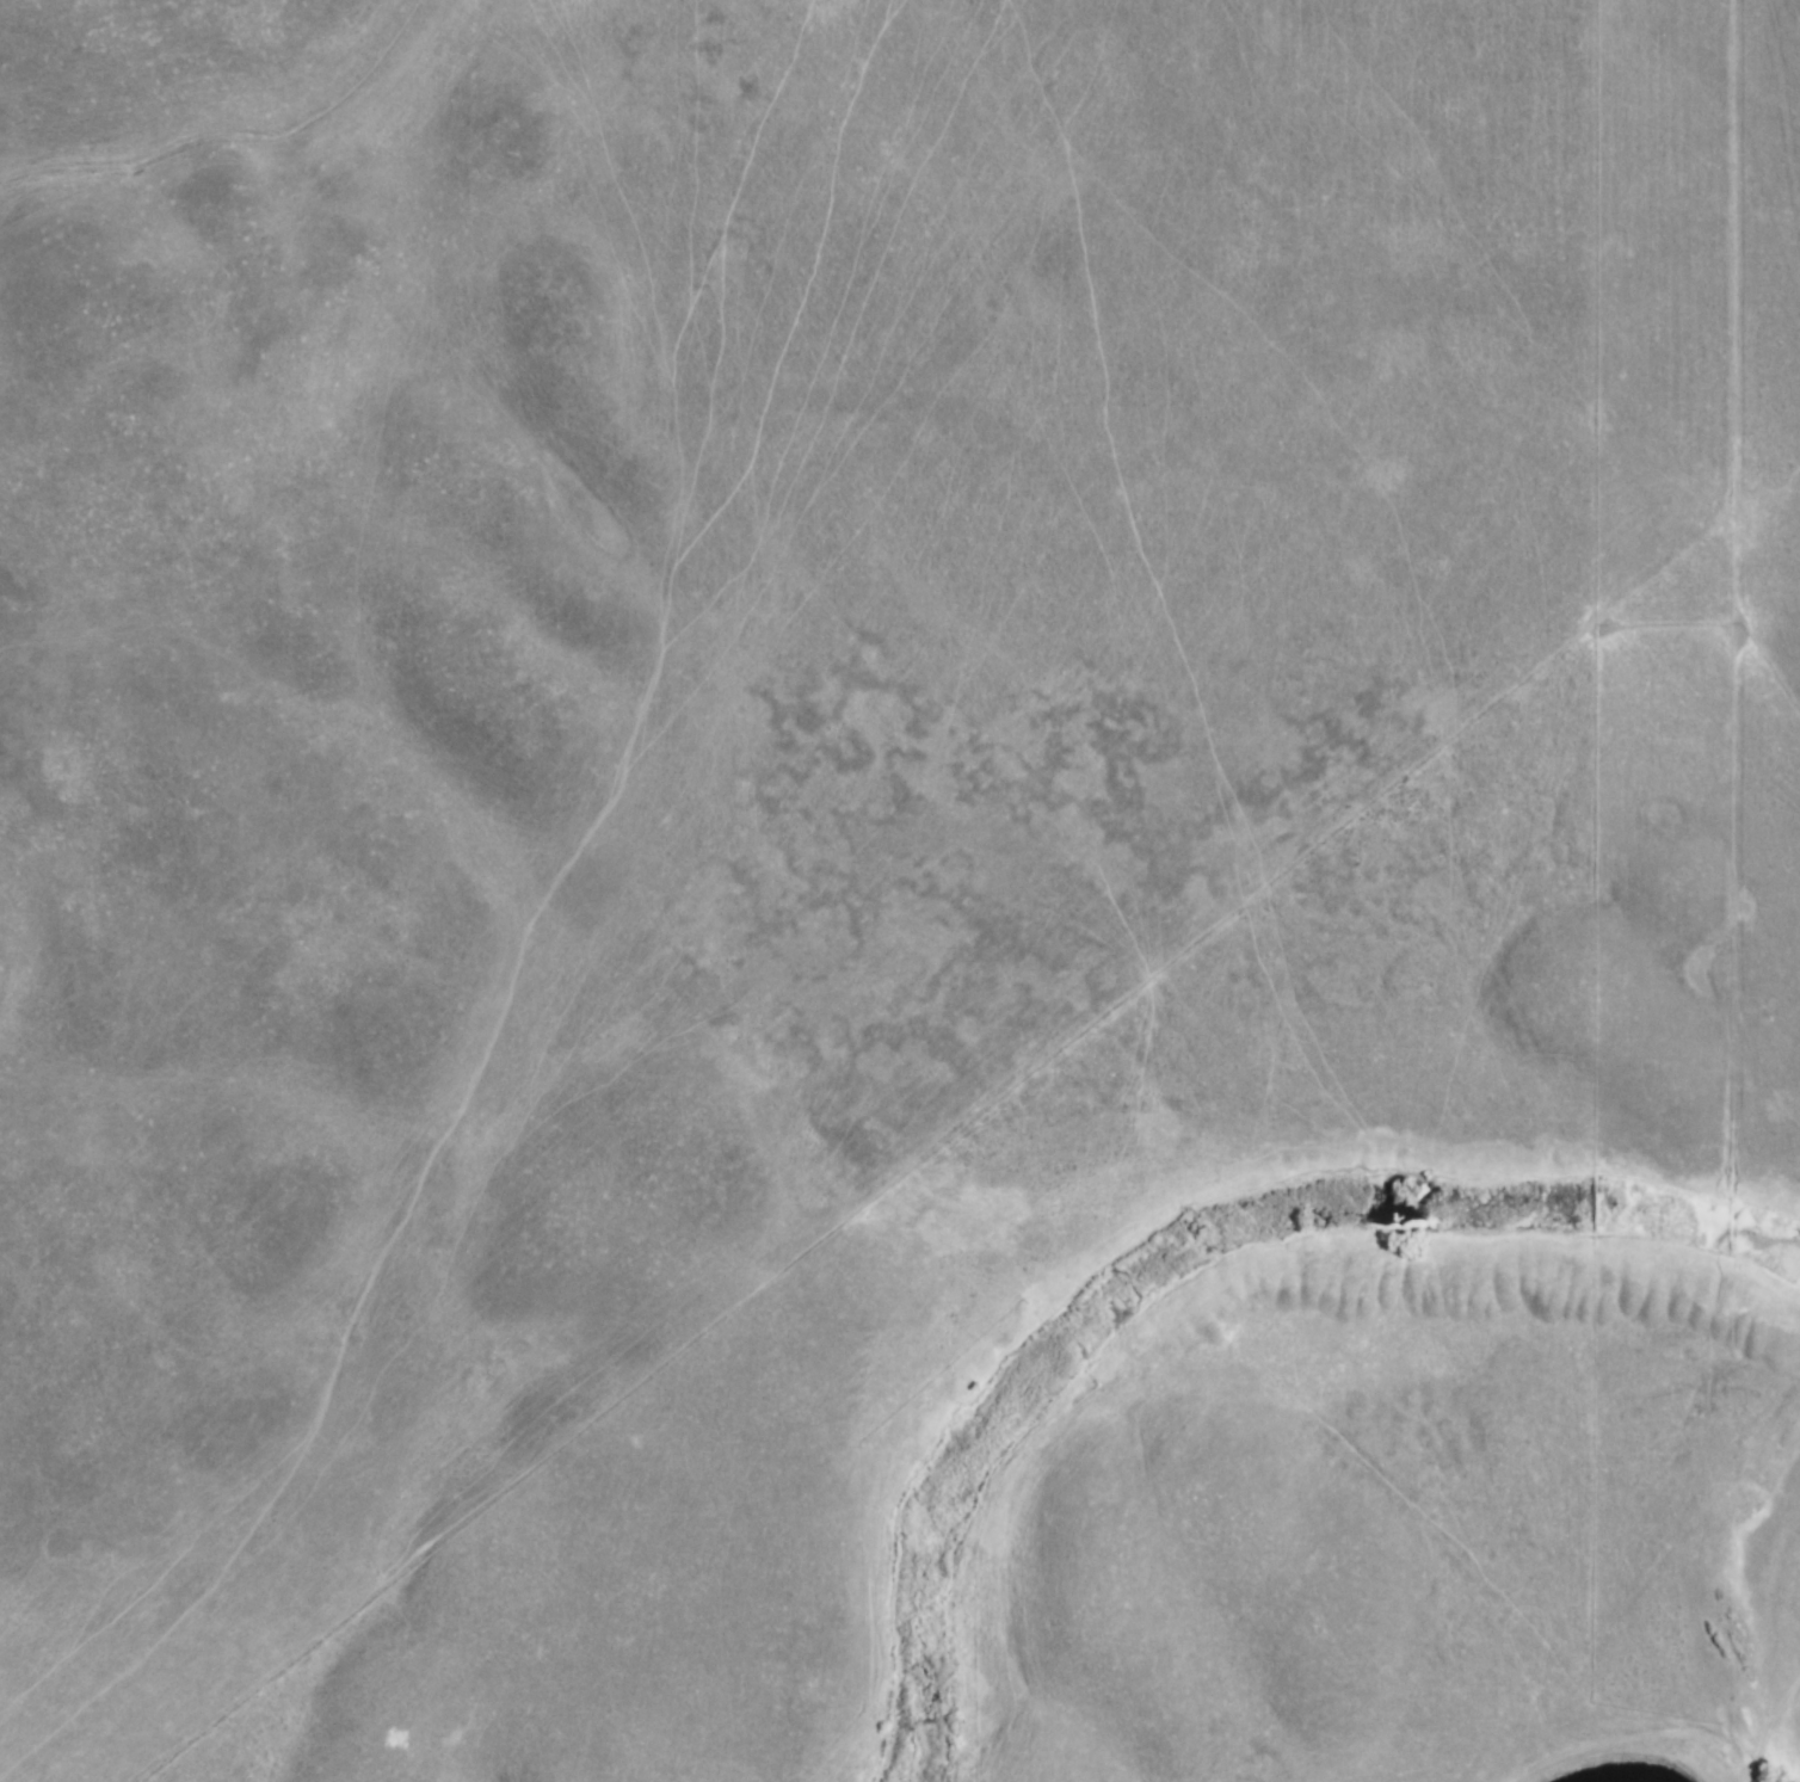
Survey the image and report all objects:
road: (1635, 1733)

